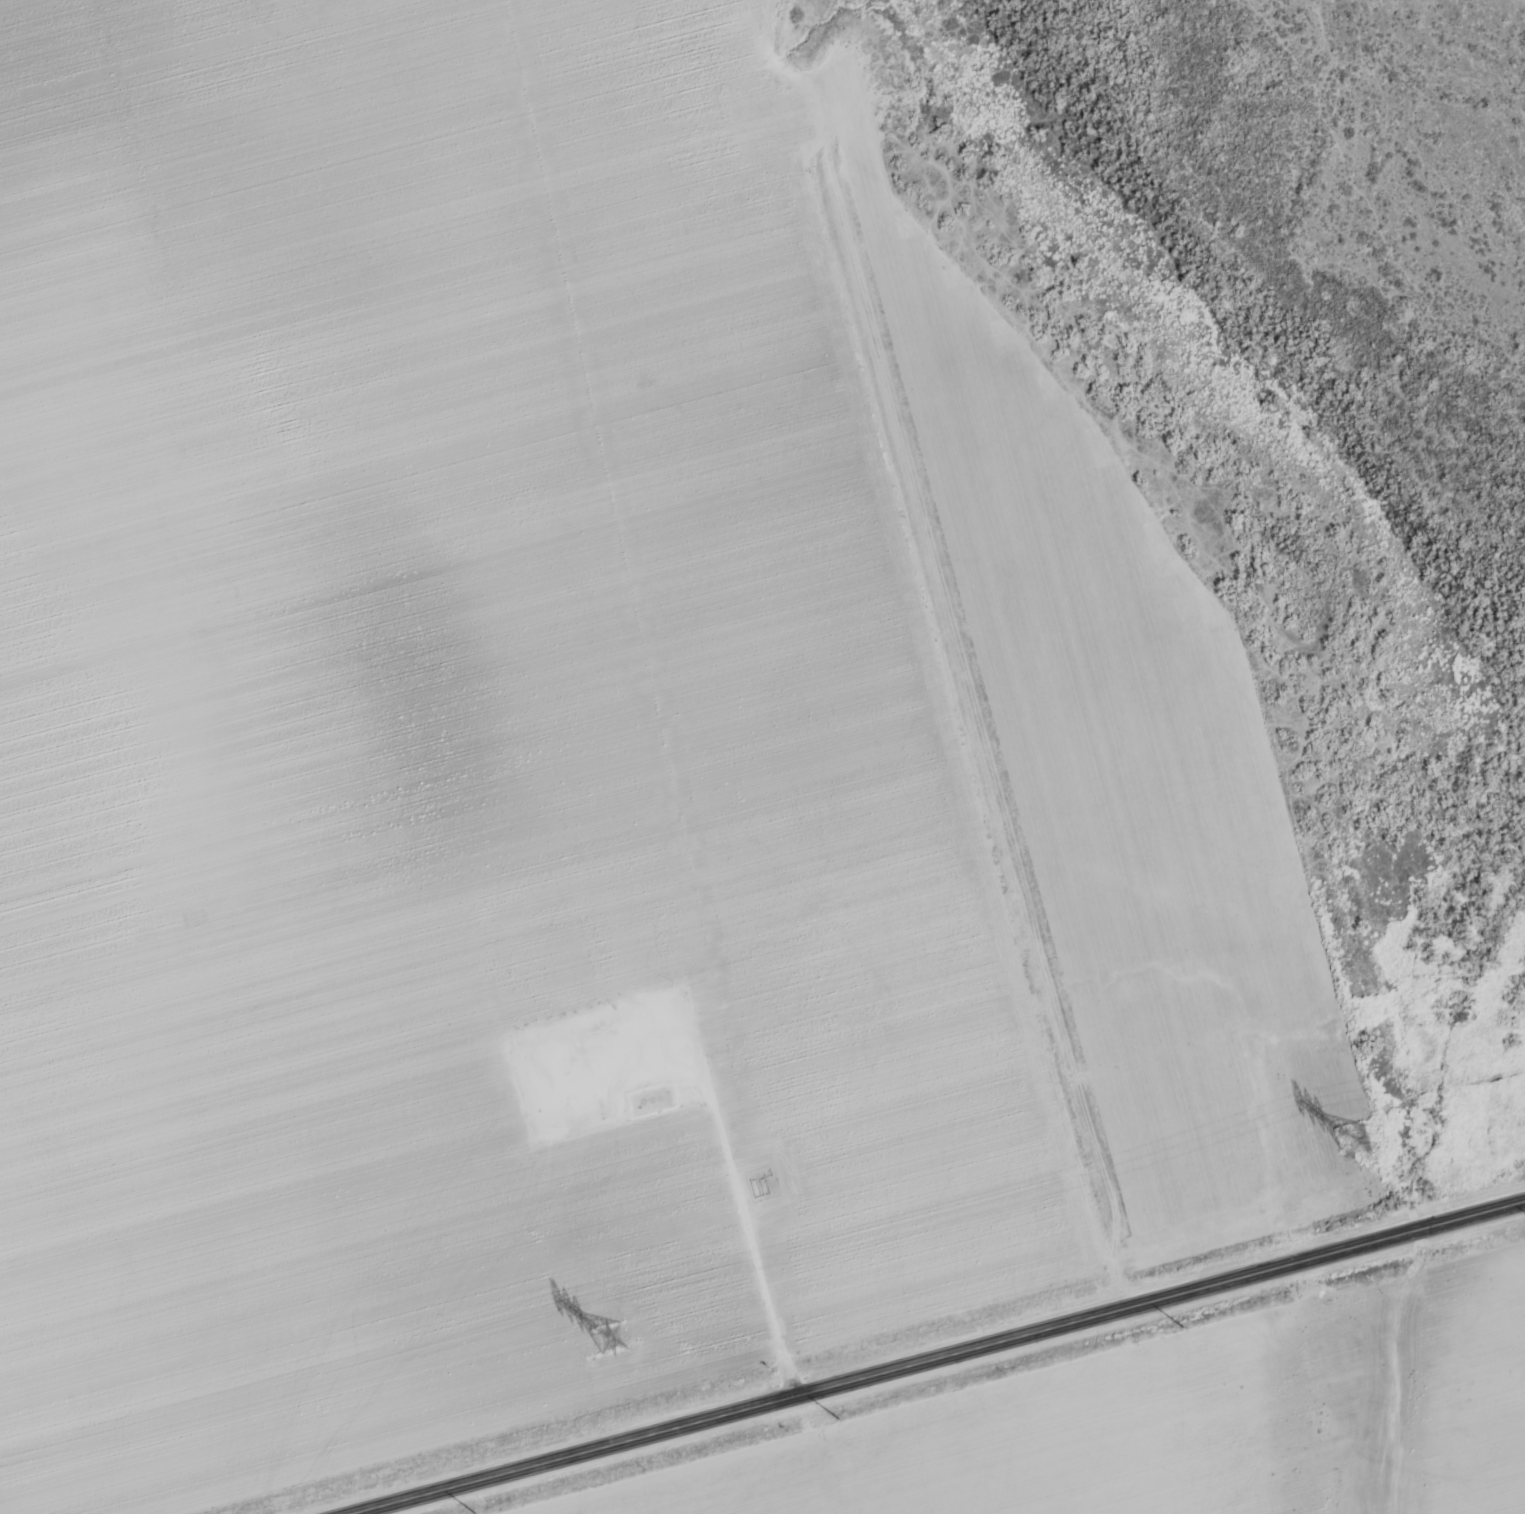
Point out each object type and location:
power tower: (1352, 1139)
power tower: (1192, 1323)
power tower: (612, 1335)
road: (925, 1357)
power tower: (828, 1422)

